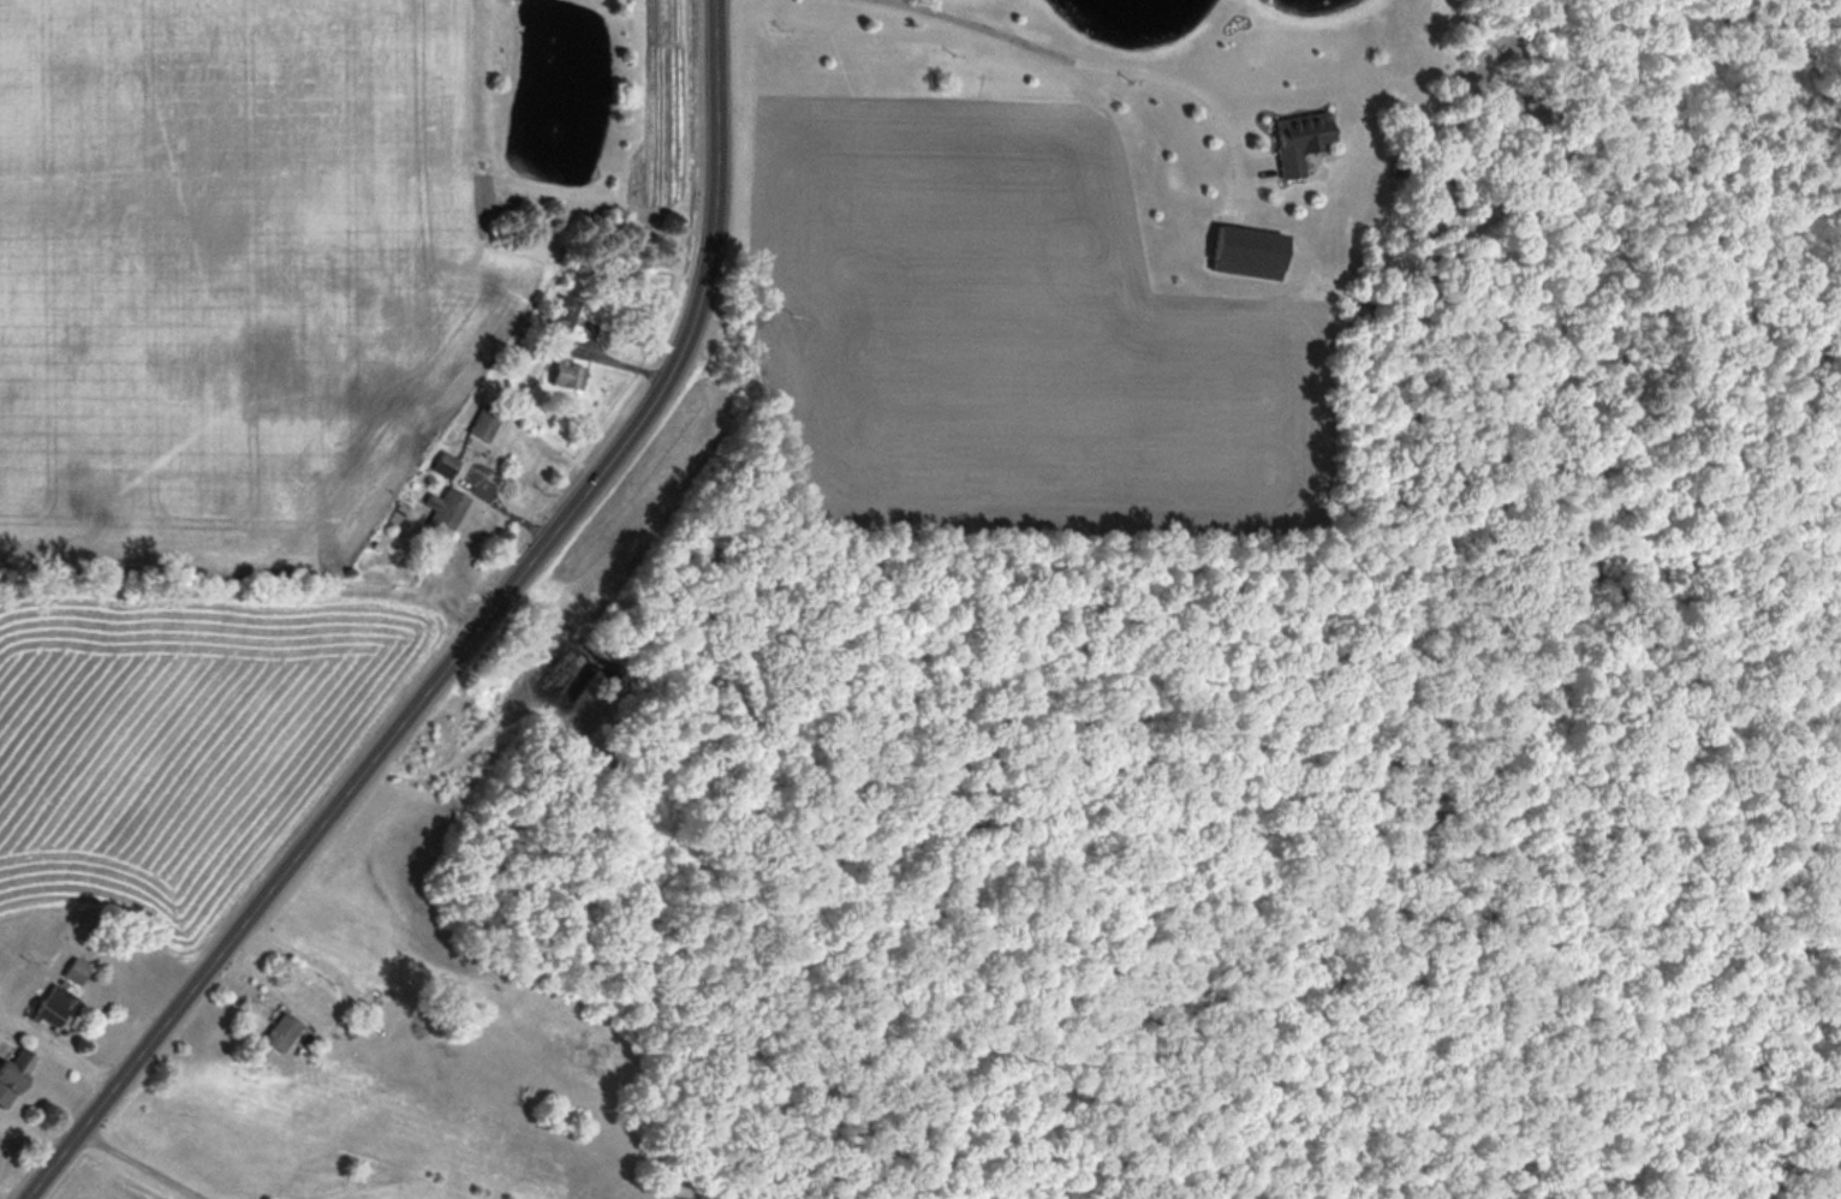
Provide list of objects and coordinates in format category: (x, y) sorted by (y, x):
road: (1097, 60)
building: (1300, 138)
road: (709, 221)
building: (566, 312)
building: (568, 371)
building: (487, 419)
building: (447, 463)
building: (447, 508)
road: (324, 812)
building: (77, 971)
road: (344, 1006)
building: (55, 1007)
building: (284, 1031)
road: (56, 1048)
building: (18, 1070)
road: (30, 1129)
road: (139, 1163)

